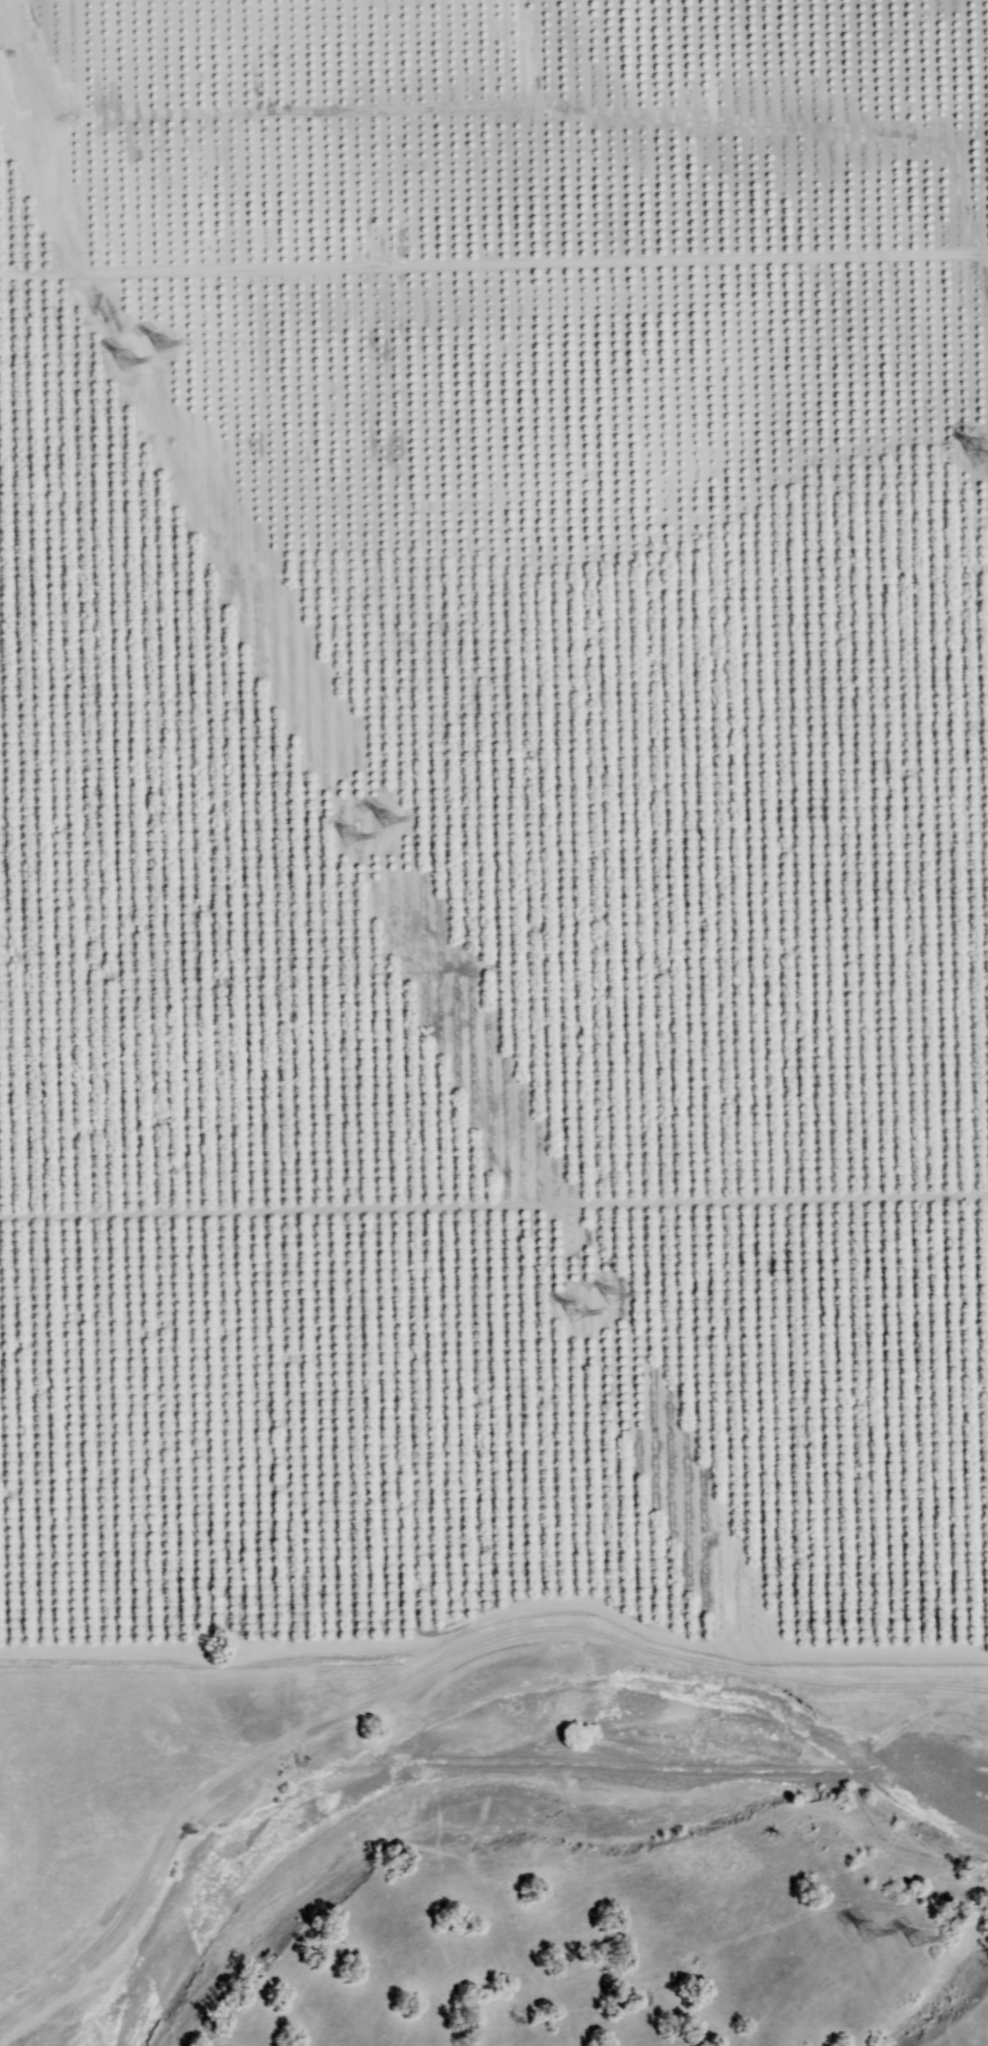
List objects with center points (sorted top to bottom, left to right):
power tower: (158, 343)
power tower: (124, 360)
power tower: (382, 819)
power tower: (349, 837)
power tower: (607, 1294)
power tower: (574, 1313)
road: (431, 1668)
power tower: (865, 1932)
power tower: (911, 1939)

